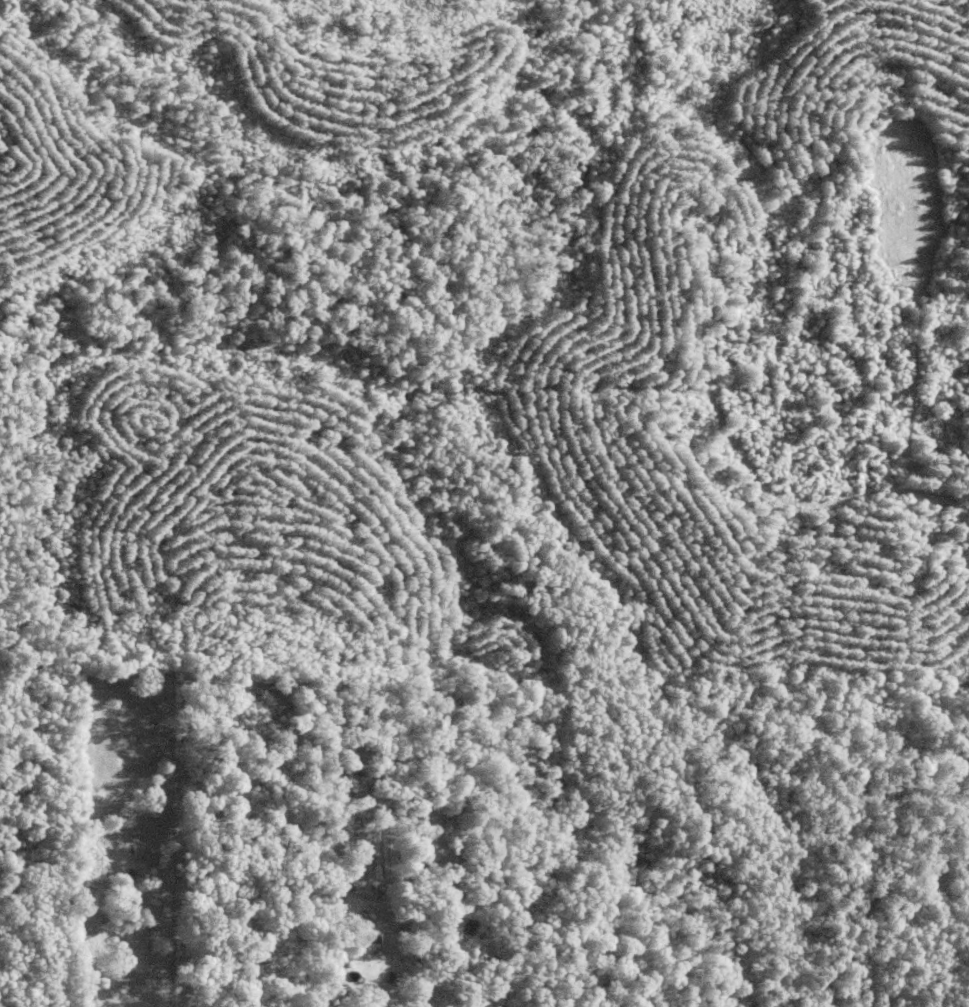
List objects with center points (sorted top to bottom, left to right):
building: (399, 923)
building: (359, 939)
building: (336, 953)

